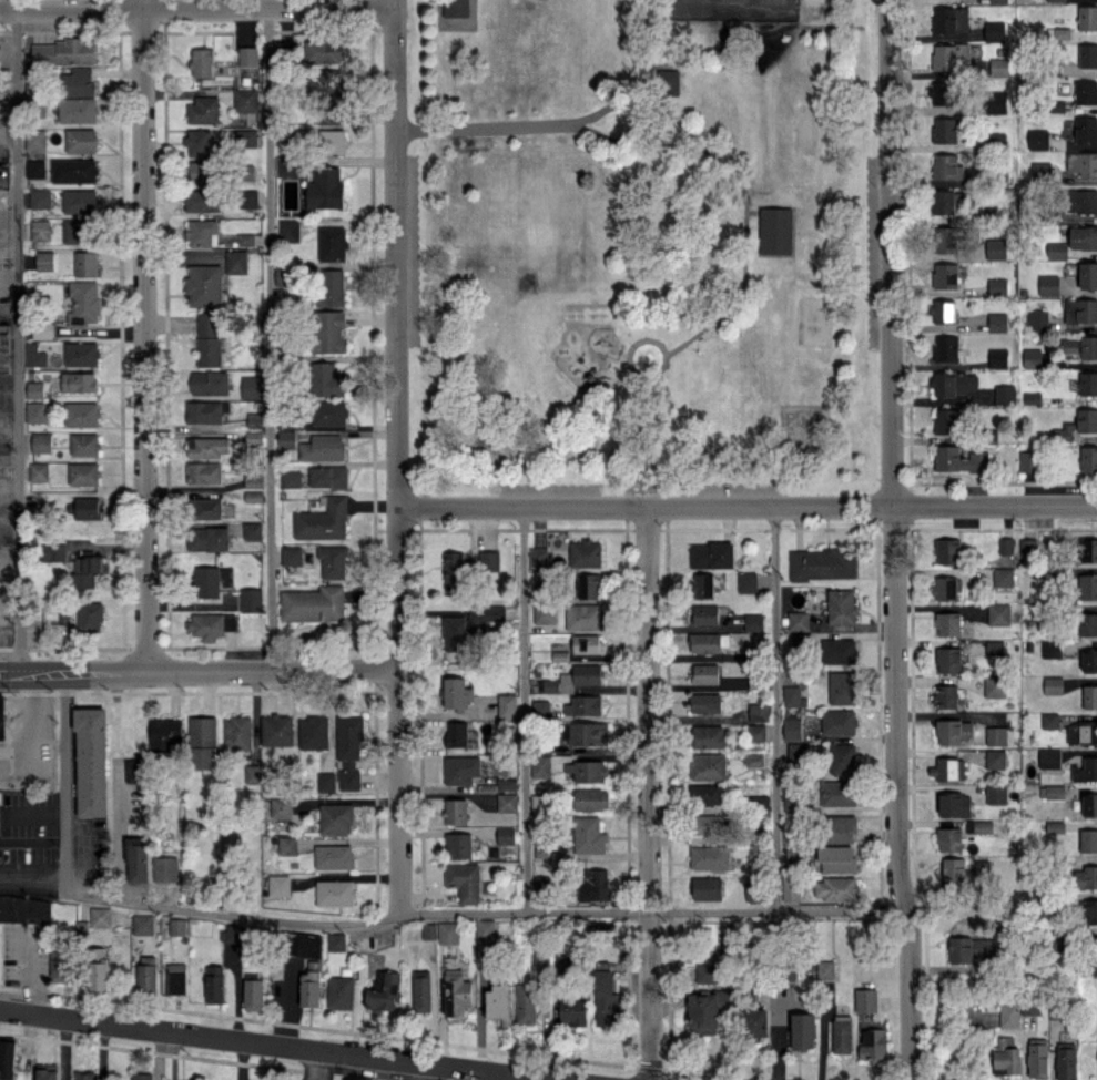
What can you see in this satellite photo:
building: (1056, 0)
building: (997, 1)
road: (196, 7)
building: (455, 7)
park: (733, 9)
building: (1087, 18)
building: (949, 19)
building: (993, 31)
building: (1058, 32)
building: (325, 51)
building: (63, 52)
building: (285, 52)
building: (1087, 54)
building: (247, 55)
building: (949, 57)
building: (202, 62)
building: (998, 67)
building: (666, 81)
building: (78, 82)
building: (324, 82)
road: (643, 88)
building: (942, 92)
building: (1086, 92)
building: (244, 100)
building: (995, 102)
building: (78, 110)
building: (204, 110)
building: (327, 115)
building: (1086, 129)
building: (944, 130)
building: (245, 137)
building: (35, 139)
building: (1037, 139)
building: (80, 140)
building: (332, 141)
road: (8, 142)
building: (199, 142)
building: (1083, 163)
building: (286, 166)
building: (946, 166)
building: (35, 167)
building: (73, 170)
building: (201, 171)
building: (1040, 171)
building: (325, 189)
building: (40, 198)
building: (248, 198)
building: (79, 201)
building: (201, 201)
building: (945, 201)
building: (1080, 201)
road: (745, 218)
road: (9, 221)
building: (40, 230)
building: (290, 230)
building: (773, 230)
building: (77, 231)
building: (202, 233)
building: (1083, 237)
building: (945, 240)
building: (332, 243)
park: (641, 243)
building: (995, 248)
building: (1057, 249)
building: (44, 259)
building: (235, 262)
building: (85, 263)
building: (945, 275)
building: (1087, 275)
building: (203, 285)
building: (996, 285)
building: (1048, 285)
building: (331, 287)
building: (83, 303)
building: (942, 310)
building: (1080, 310)
building: (1037, 319)
park: (813, 322)
building: (997, 322)
building: (42, 330)
building: (328, 330)
road: (18, 335)
road: (268, 335)
road: (143, 336)
building: (209, 339)
building: (1081, 346)
building: (945, 348)
building: (4, 351)
building: (81, 354)
building: (34, 355)
building: (997, 357)
building: (1032, 357)
road: (630, 360)
building: (325, 379)
building: (78, 380)
building: (210, 383)
building: (954, 383)
building: (1087, 383)
building: (251, 387)
building: (34, 389)
building: (1004, 395)
building: (35, 411)
building: (204, 411)
building: (329, 412)
building: (81, 414)
building: (946, 421)
building: (1078, 424)
road: (652, 436)
building: (286, 439)
building: (41, 441)
building: (84, 444)
building: (207, 447)
building: (322, 447)
road: (398, 457)
building: (958, 459)
building: (1088, 459)
building: (1028, 461)
building: (39, 471)
building: (204, 472)
building: (83, 473)
building: (328, 476)
building: (291, 478)
road: (748, 503)
building: (87, 507)
building: (204, 508)
building: (322, 520)
building: (252, 530)
building: (207, 538)
road: (892, 540)
building: (1005, 546)
building: (1028, 547)
building: (947, 550)
building: (1088, 550)
building: (52, 551)
building: (585, 552)
building: (291, 554)
building: (710, 554)
building: (538, 557)
building: (489, 560)
building: (333, 561)
building: (822, 563)
building: (85, 569)
building: (454, 572)
building: (1002, 577)
building: (205, 581)
building: (746, 582)
building: (588, 585)
building: (703, 585)
building: (1087, 587)
building: (946, 588)
building: (251, 599)
building: (313, 603)
building: (841, 607)
building: (487, 612)
building: (544, 613)
building: (997, 613)
building: (704, 614)
building: (89, 617)
building: (583, 617)
building: (63, 620)
building: (798, 620)
building: (752, 622)
building: (947, 623)
building: (1088, 623)
building: (212, 624)
building: (454, 633)
building: (587, 643)
building: (704, 643)
building: (994, 646)
building: (1050, 649)
building: (837, 651)
building: (947, 659)
building: (1089, 660)
road: (199, 672)
building: (704, 673)
building: (582, 674)
building: (754, 681)
building: (550, 685)
building: (1053, 685)
building: (994, 686)
building: (841, 687)
building: (456, 693)
building: (792, 696)
building: (945, 696)
building: (1089, 696)
building: (705, 703)
building: (507, 705)
building: (583, 705)
road: (774, 706)
road: (524, 709)
building: (540, 709)
building: (758, 712)
building: (1, 717)
building: (1048, 720)
building: (837, 722)
building: (791, 726)
building: (276, 730)
building: (953, 731)
building: (163, 732)
building: (237, 732)
building: (314, 732)
building: (755, 732)
building: (1081, 732)
building: (456, 733)
building: (585, 733)
building: (995, 735)
building: (708, 736)
building: (202, 742)
building: (348, 750)
building: (842, 757)
building: (995, 758)
building: (1048, 758)
building: (754, 760)
building: (91, 762)
building: (540, 765)
building: (708, 766)
building: (461, 768)
building: (947, 768)
building: (585, 770)
building: (1085, 770)
building: (251, 773)
road: (63, 781)
building: (326, 781)
building: (507, 784)
building: (1052, 791)
road: (647, 792)
building: (837, 793)
building: (704, 794)
building: (996, 794)
building: (591, 799)
building: (507, 802)
building: (539, 803)
building: (953, 805)
building: (1089, 805)
building: (280, 807)
building: (455, 811)
building: (0, 818)
building: (335, 818)
building: (707, 824)
building: (983, 827)
building: (1054, 827)
building: (840, 828)
road: (119, 835)
building: (588, 835)
building: (948, 839)
building: (1088, 840)
building: (286, 845)
building: (458, 845)
building: (333, 856)
building: (708, 857)
building: (138, 858)
building: (834, 859)
building: (165, 869)
road: (31, 872)
building: (964, 872)
building: (1086, 877)
building: (464, 880)
building: (593, 884)
building: (278, 885)
building: (705, 888)
building: (835, 888)
building: (335, 893)
building: (24, 908)
building: (1090, 911)
road: (483, 913)
building: (100, 916)
building: (142, 924)
building: (177, 926)
building: (82, 928)
building: (485, 928)
building: (428, 930)
building: (448, 933)
building: (231, 934)
building: (336, 941)
building: (1094, 947)
building: (972, 949)
building: (61, 965)
building: (98, 968)
building: (825, 969)
building: (146, 972)
building: (703, 972)
building: (176, 978)
building: (214, 986)
building: (311, 986)
building: (421, 990)
building: (253, 991)
building: (339, 991)
building: (383, 992)
building: (456, 992)
building: (603, 997)
building: (865, 1000)
building: (499, 1001)
building: (526, 1003)
building: (1030, 1007)
building: (573, 1011)
building: (704, 1011)
building: (1008, 1015)
building: (754, 1023)
building: (802, 1030)
building: (841, 1033)
building: (872, 1045)
road: (281, 1046)
building: (1006, 1056)
building: (1037, 1058)
building: (7, 1059)
building: (1066, 1060)
road: (315, 1066)
building: (47, 1071)
building: (85, 1074)
building: (141, 1076)
road: (496, 1076)

